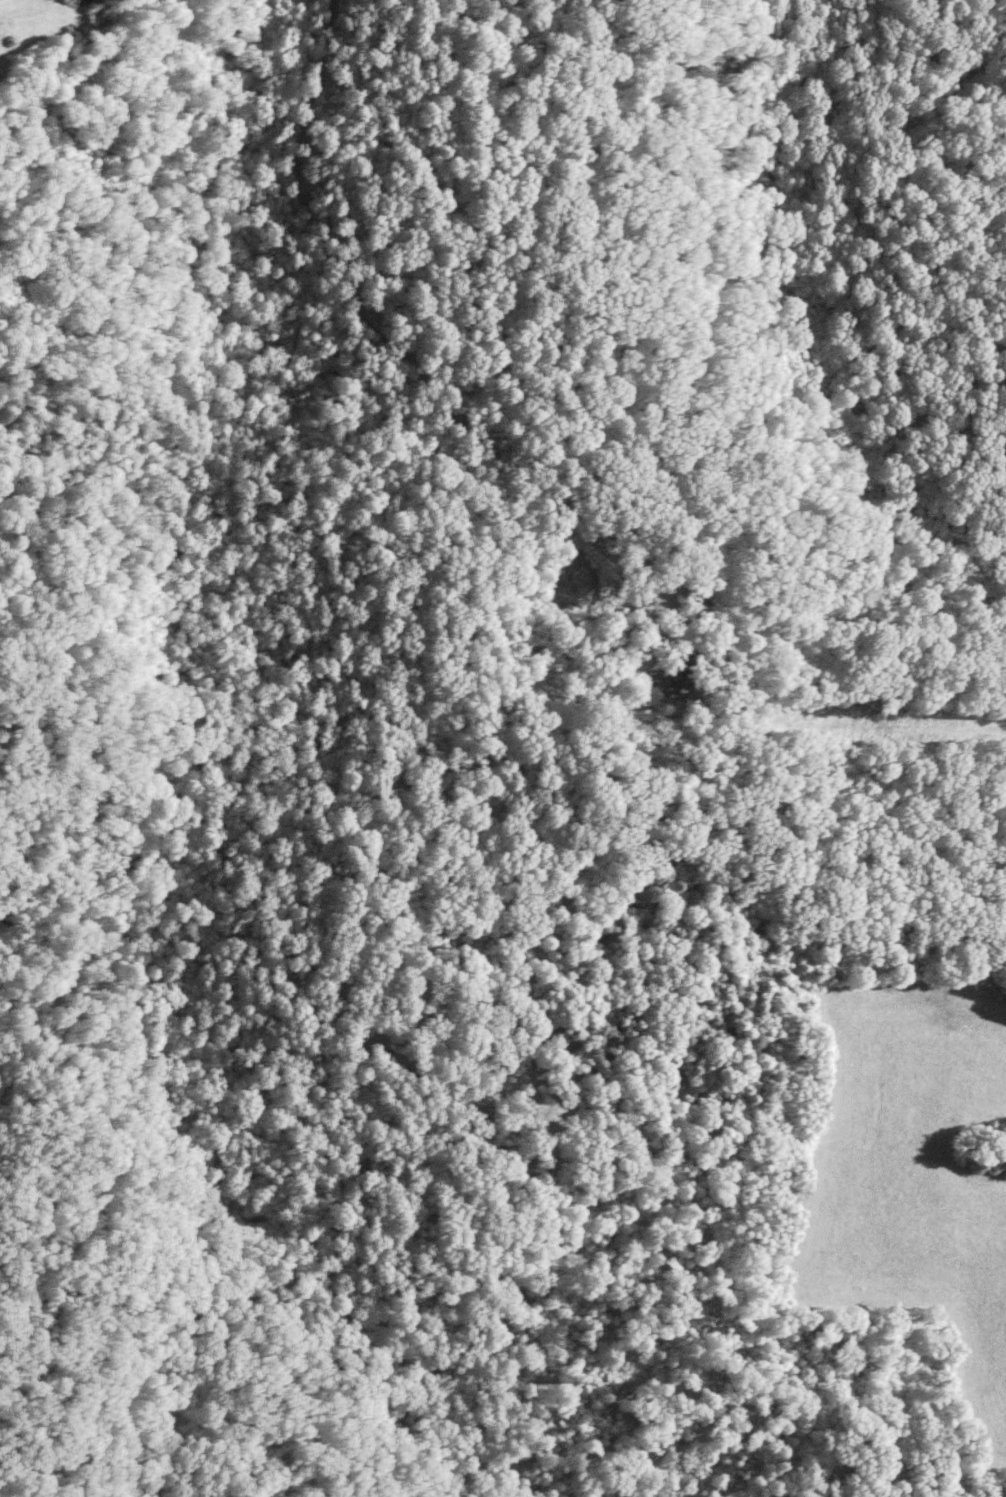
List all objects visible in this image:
building: (641, 694)

